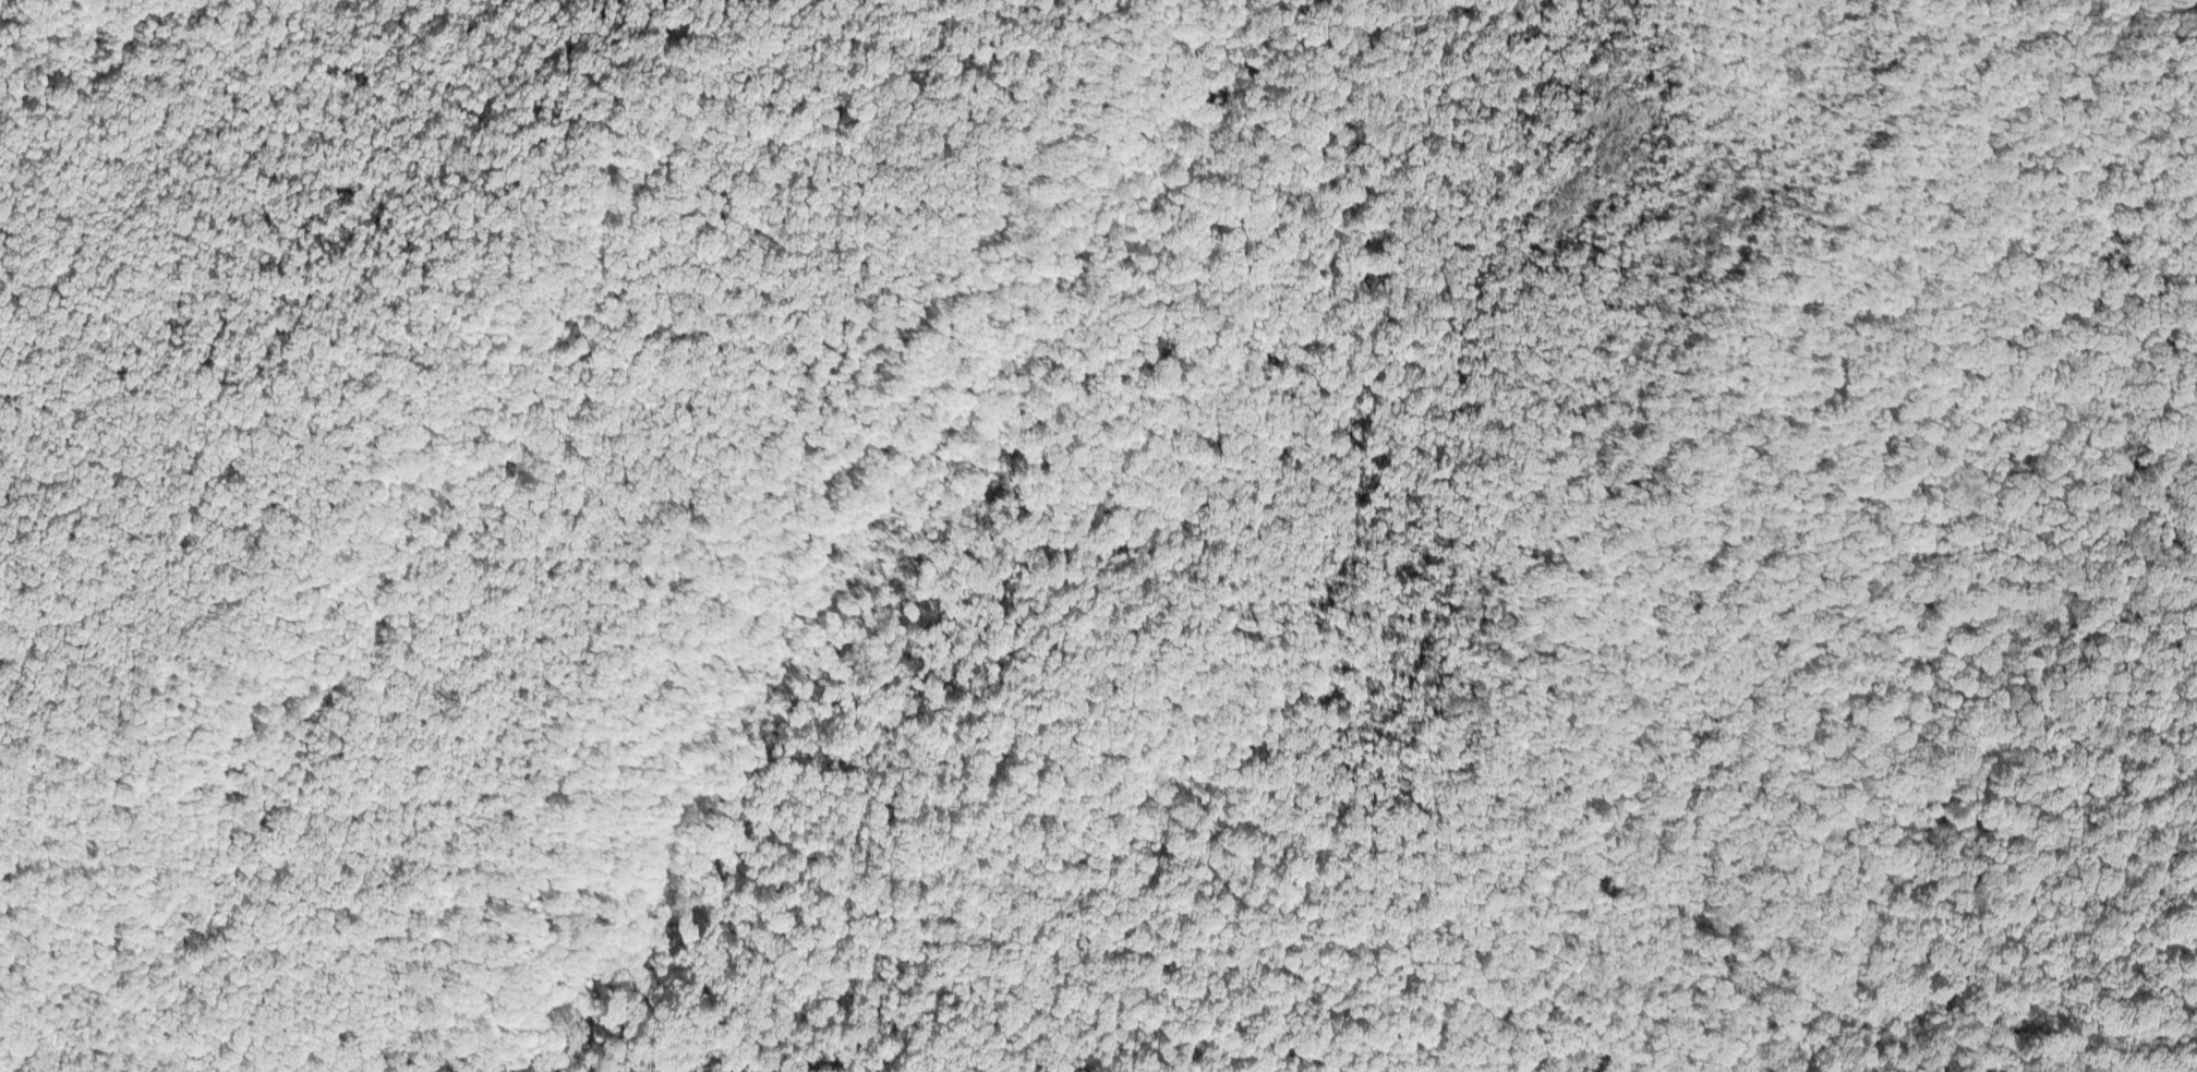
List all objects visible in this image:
road: (1650, 436)
road: (110, 1007)

